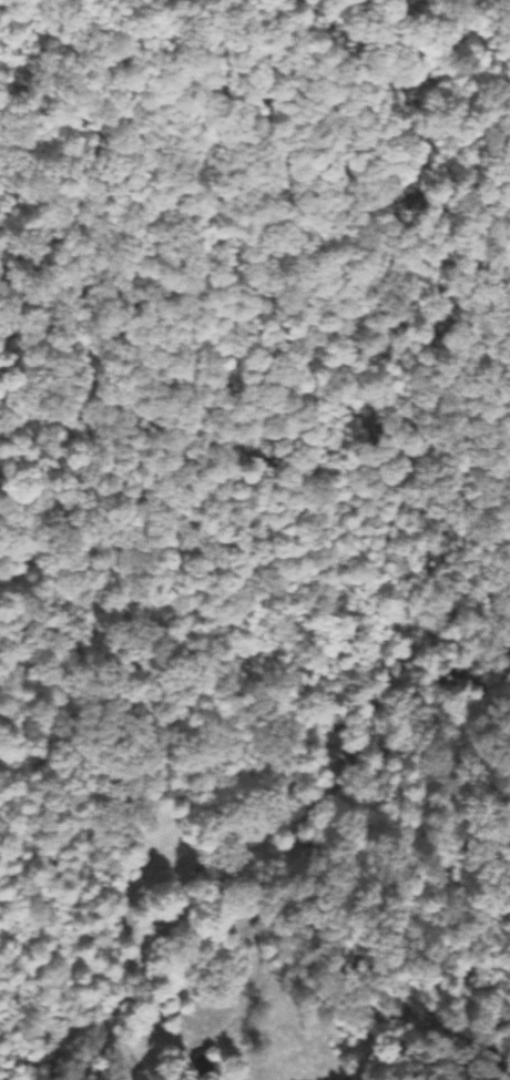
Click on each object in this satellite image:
building: (172, 1012)
road: (119, 1038)

